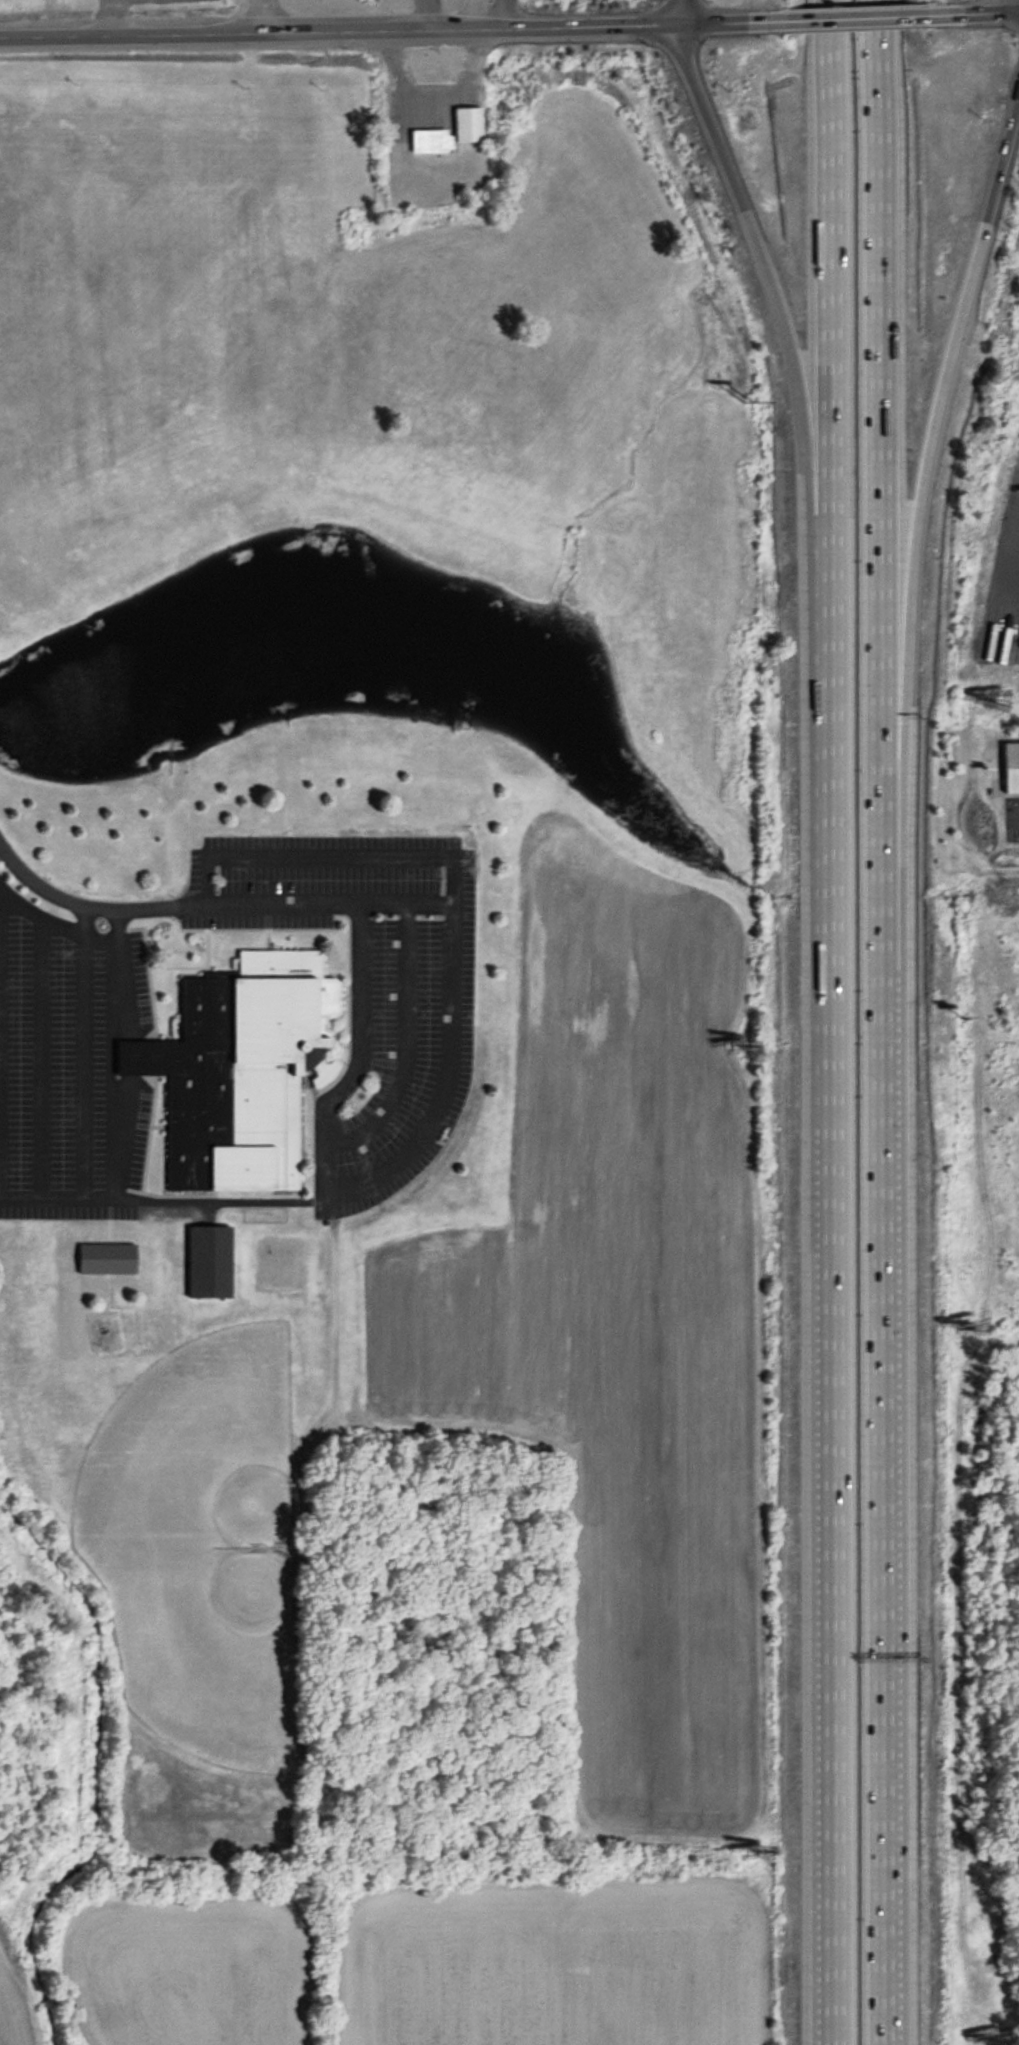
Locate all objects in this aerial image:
road: (677, 10)
road: (432, 12)
road: (471, 12)
road: (506, 12)
road: (973, 13)
road: (263, 14)
road: (110, 15)
road: (856, 16)
road: (392, 25)
building: (466, 124)
building: (426, 140)
road: (750, 240)
road: (951, 348)
building: (1010, 767)
road: (164, 905)
road: (825, 1022)
road: (886, 1022)
building: (239, 1072)
road: (111, 1106)
road: (395, 1162)
building: (105, 1260)
building: (208, 1263)

